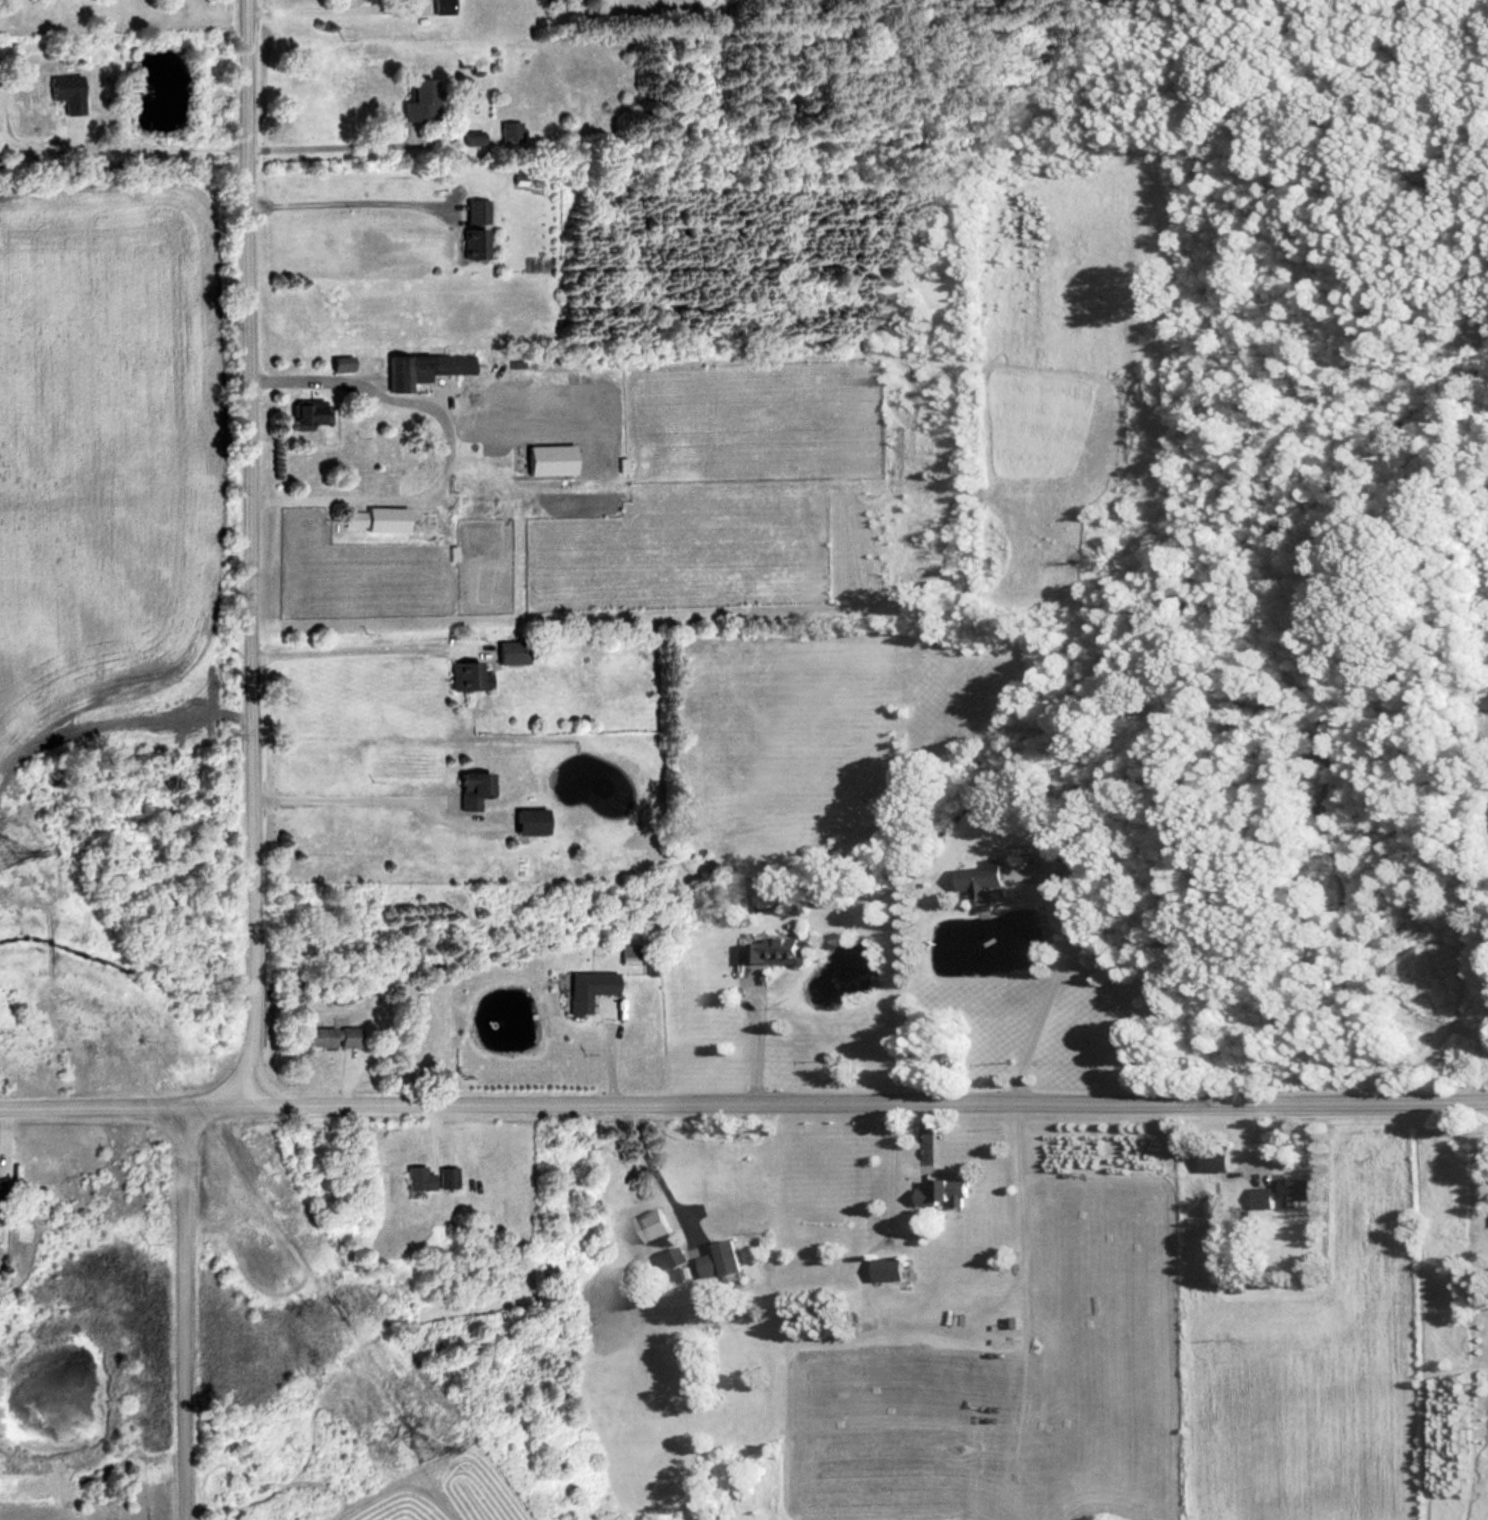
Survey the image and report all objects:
building: (438, 7)
road: (302, 8)
building: (409, 83)
building: (60, 91)
building: (0, 106)
road: (161, 144)
road: (331, 145)
road: (349, 201)
building: (473, 210)
building: (471, 242)
building: (417, 368)
building: (470, 395)
building: (301, 412)
road: (445, 442)
building: (543, 459)
building: (371, 517)
road: (365, 648)
building: (509, 652)
building: (465, 675)
road: (255, 772)
building: (466, 789)
road: (350, 798)
building: (526, 821)
building: (973, 877)
building: (765, 950)
road: (1043, 986)
building: (585, 989)
building: (325, 1036)
road: (743, 1100)
building: (1210, 1159)
road: (888, 1162)
building: (441, 1177)
building: (411, 1178)
building: (1290, 1192)
building: (937, 1194)
building: (650, 1222)
building: (671, 1257)
building: (715, 1259)
building: (882, 1268)
power tower: (413, 1448)

